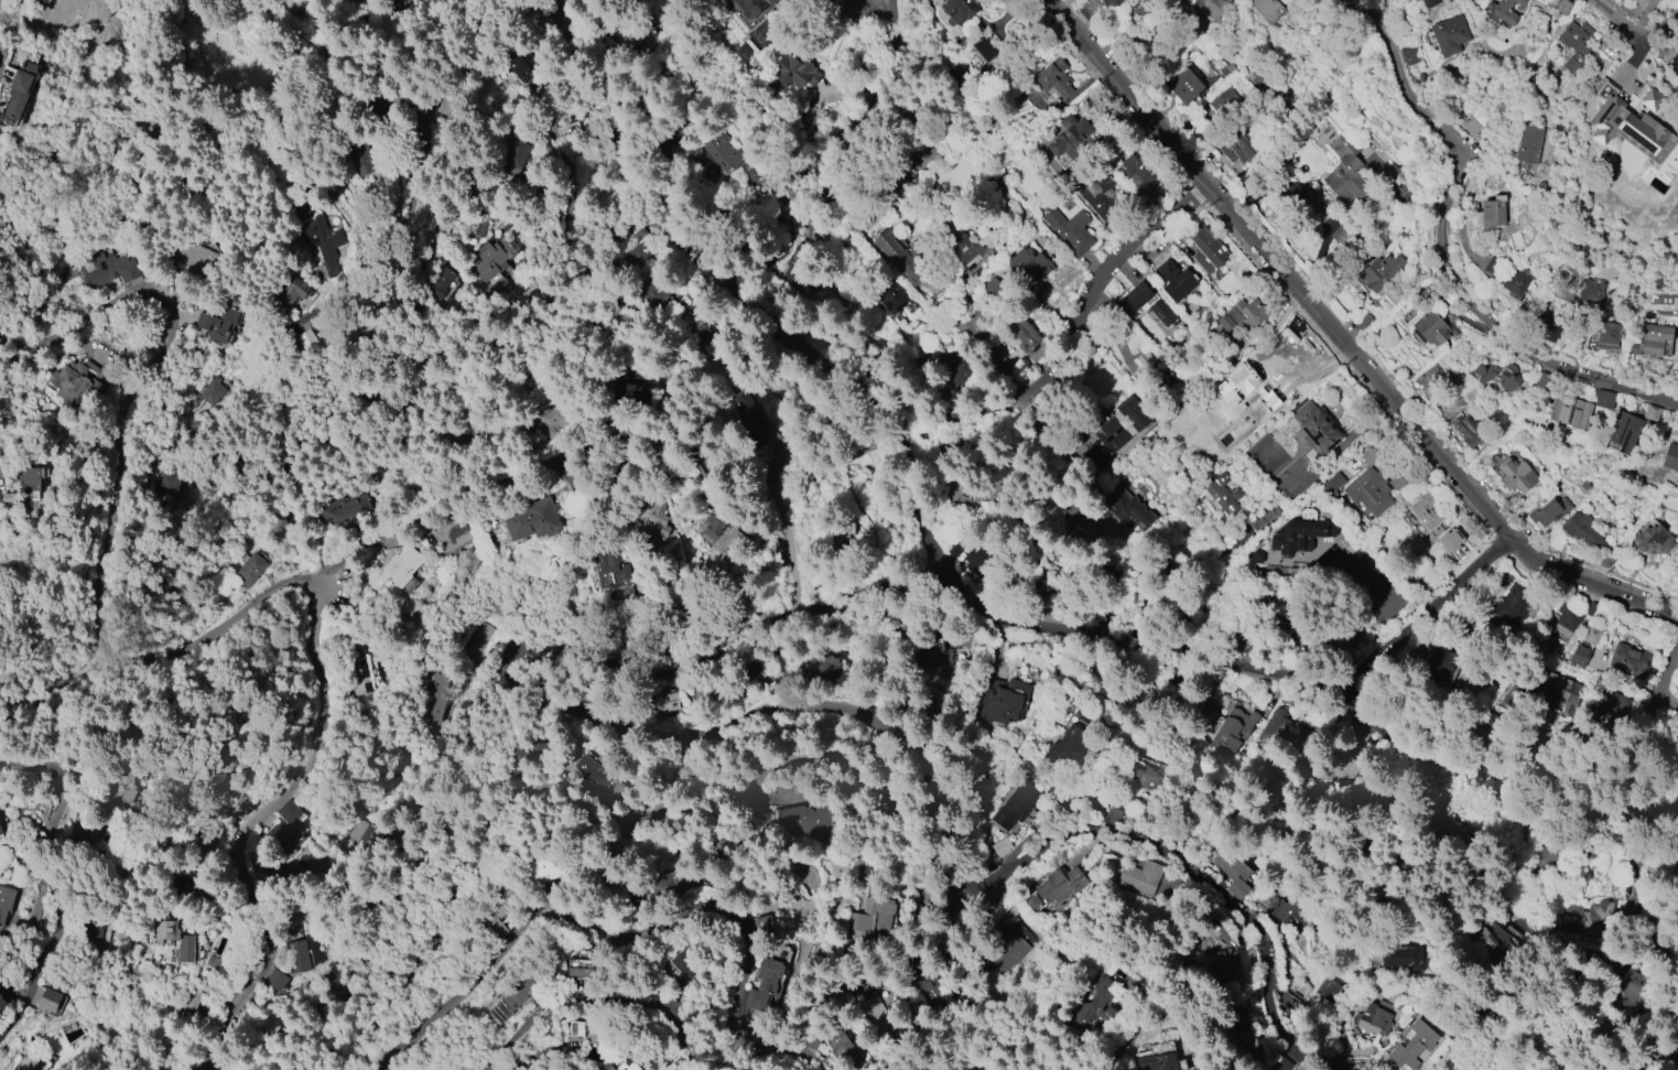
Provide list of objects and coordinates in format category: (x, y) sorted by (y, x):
building: (44, 0)
building: (1417, 0)
building: (1112, 2)
building: (1428, 2)
building: (390, 3)
building: (1561, 6)
building: (751, 7)
building: (1212, 8)
building: (1265, 9)
building: (960, 10)
building: (1505, 10)
road: (1632, 24)
building: (1449, 34)
building: (1574, 44)
building: (984, 47)
building: (1408, 54)
building: (1671, 61)
building: (519, 69)
building: (795, 72)
building: (1053, 77)
building: (1186, 86)
building: (19, 90)
building: (1216, 106)
building: (1477, 126)
building: (1628, 129)
building: (566, 132)
road: (834, 136)
building: (1071, 136)
building: (1530, 143)
building: (721, 149)
building: (1236, 149)
building: (513, 153)
building: (362, 156)
building: (1343, 170)
building: (1137, 173)
building: (743, 174)
building: (1094, 195)
building: (1491, 213)
building: (1069, 229)
road: (443, 235)
building: (323, 245)
building: (965, 246)
road: (1446, 248)
building: (1208, 250)
building: (898, 257)
building: (489, 258)
building: (190, 259)
building: (793, 266)
building: (1029, 266)
building: (107, 269)
building: (1381, 271)
building: (1174, 280)
building: (1516, 281)
building: (436, 282)
building: (288, 292)
building: (1590, 292)
building: (651, 294)
building: (889, 296)
building: (1135, 298)
building: (1242, 314)
building: (219, 321)
building: (1547, 323)
building: (1431, 328)
building: (1607, 335)
road: (480, 336)
building: (304, 338)
road: (1345, 338)
building: (1652, 338)
building: (1027, 339)
road: (1074, 341)
building: (1143, 360)
road: (997, 365)
building: (1498, 375)
building: (1430, 378)
building: (76, 382)
building: (207, 391)
building: (630, 393)
building: (1603, 399)
building: (1570, 411)
building: (1650, 412)
building: (552, 420)
building: (745, 422)
building: (1121, 428)
building: (1316, 428)
building: (1469, 430)
building: (1624, 432)
building: (1670, 457)
building: (1516, 475)
building: (164, 482)
building: (29, 483)
building: (1332, 484)
building: (1368, 486)
road: (466, 489)
road: (115, 491)
building: (1223, 497)
building: (343, 508)
building: (1128, 511)
building: (1548, 511)
building: (1427, 515)
building: (1264, 518)
building: (533, 519)
building: (656, 522)
building: (1582, 529)
building: (717, 532)
building: (452, 533)
building: (844, 536)
building: (1299, 536)
building: (1653, 540)
road: (788, 541)
building: (607, 565)
building: (400, 566)
building: (250, 568)
building: (1411, 575)
road: (292, 577)
building: (1514, 604)
building: (1590, 608)
road: (1016, 612)
road: (1426, 616)
building: (1563, 620)
building: (1591, 634)
building: (475, 641)
building: (933, 650)
road: (54, 655)
building: (1579, 657)
building: (1628, 660)
building: (1439, 663)
building: (823, 668)
building: (359, 675)
building: (1556, 689)
building: (435, 694)
building: (1002, 699)
building: (664, 700)
building: (1677, 703)
building: (1605, 707)
road: (834, 709)
road: (1644, 727)
building: (1285, 729)
building: (1230, 733)
building: (1070, 743)
building: (600, 776)
building: (1146, 777)
building: (122, 778)
road: (567, 781)
building: (1014, 808)
building: (806, 819)
building: (283, 823)
road: (243, 828)
building: (0, 832)
building: (361, 834)
building: (1000, 846)
park: (372, 868)
building: (1232, 872)
building: (540, 877)
building: (1139, 877)
road: (56, 884)
building: (182, 887)
building: (664, 888)
building: (1053, 888)
road: (396, 900)
building: (4, 901)
building: (1291, 910)
building: (498, 915)
building: (873, 917)
road: (628, 923)
building: (766, 931)
building: (173, 937)
building: (1498, 940)
building: (1007, 949)
building: (296, 956)
building: (1397, 956)
building: (212, 961)
building: (1223, 964)
building: (581, 968)
building: (685, 968)
building: (920, 979)
building: (273, 981)
building: (762, 983)
building: (1327, 988)
building: (519, 992)
building: (0, 996)
building: (48, 999)
building: (185, 1002)
road: (605, 1003)
building: (1095, 1003)
building: (1, 1004)
building: (874, 1014)
building: (1374, 1019)
building: (576, 1028)
building: (1245, 1029)
building: (1414, 1045)
building: (842, 1046)
road: (1278, 1052)
building: (1155, 1061)
building: (30, 1062)
building: (619, 1062)

